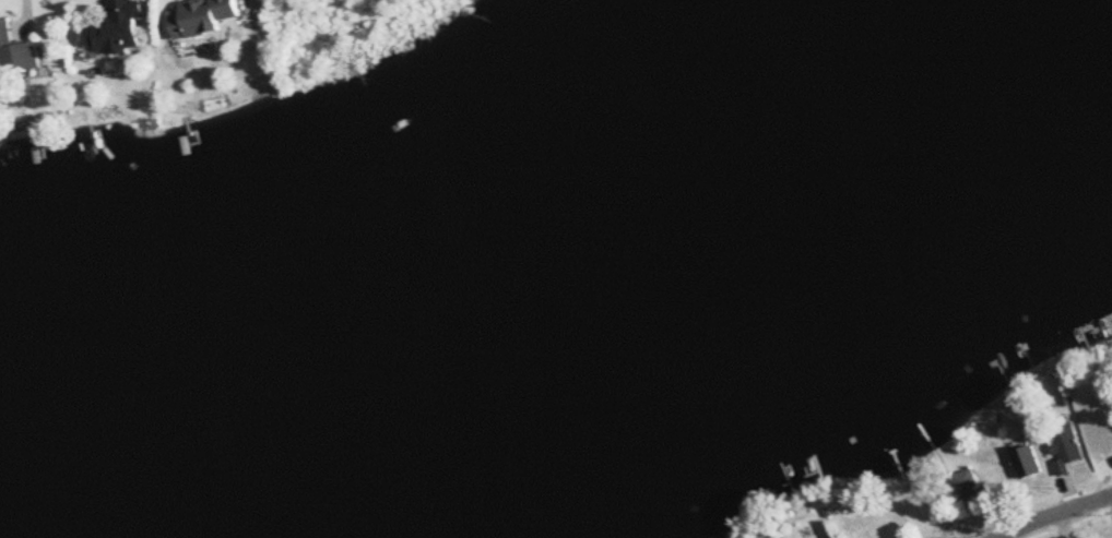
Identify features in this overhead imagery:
building: (203, 15)
building: (118, 28)
building: (17, 55)
building: (1066, 445)
building: (1028, 462)
building: (966, 487)
road: (1054, 514)
road: (1001, 537)

